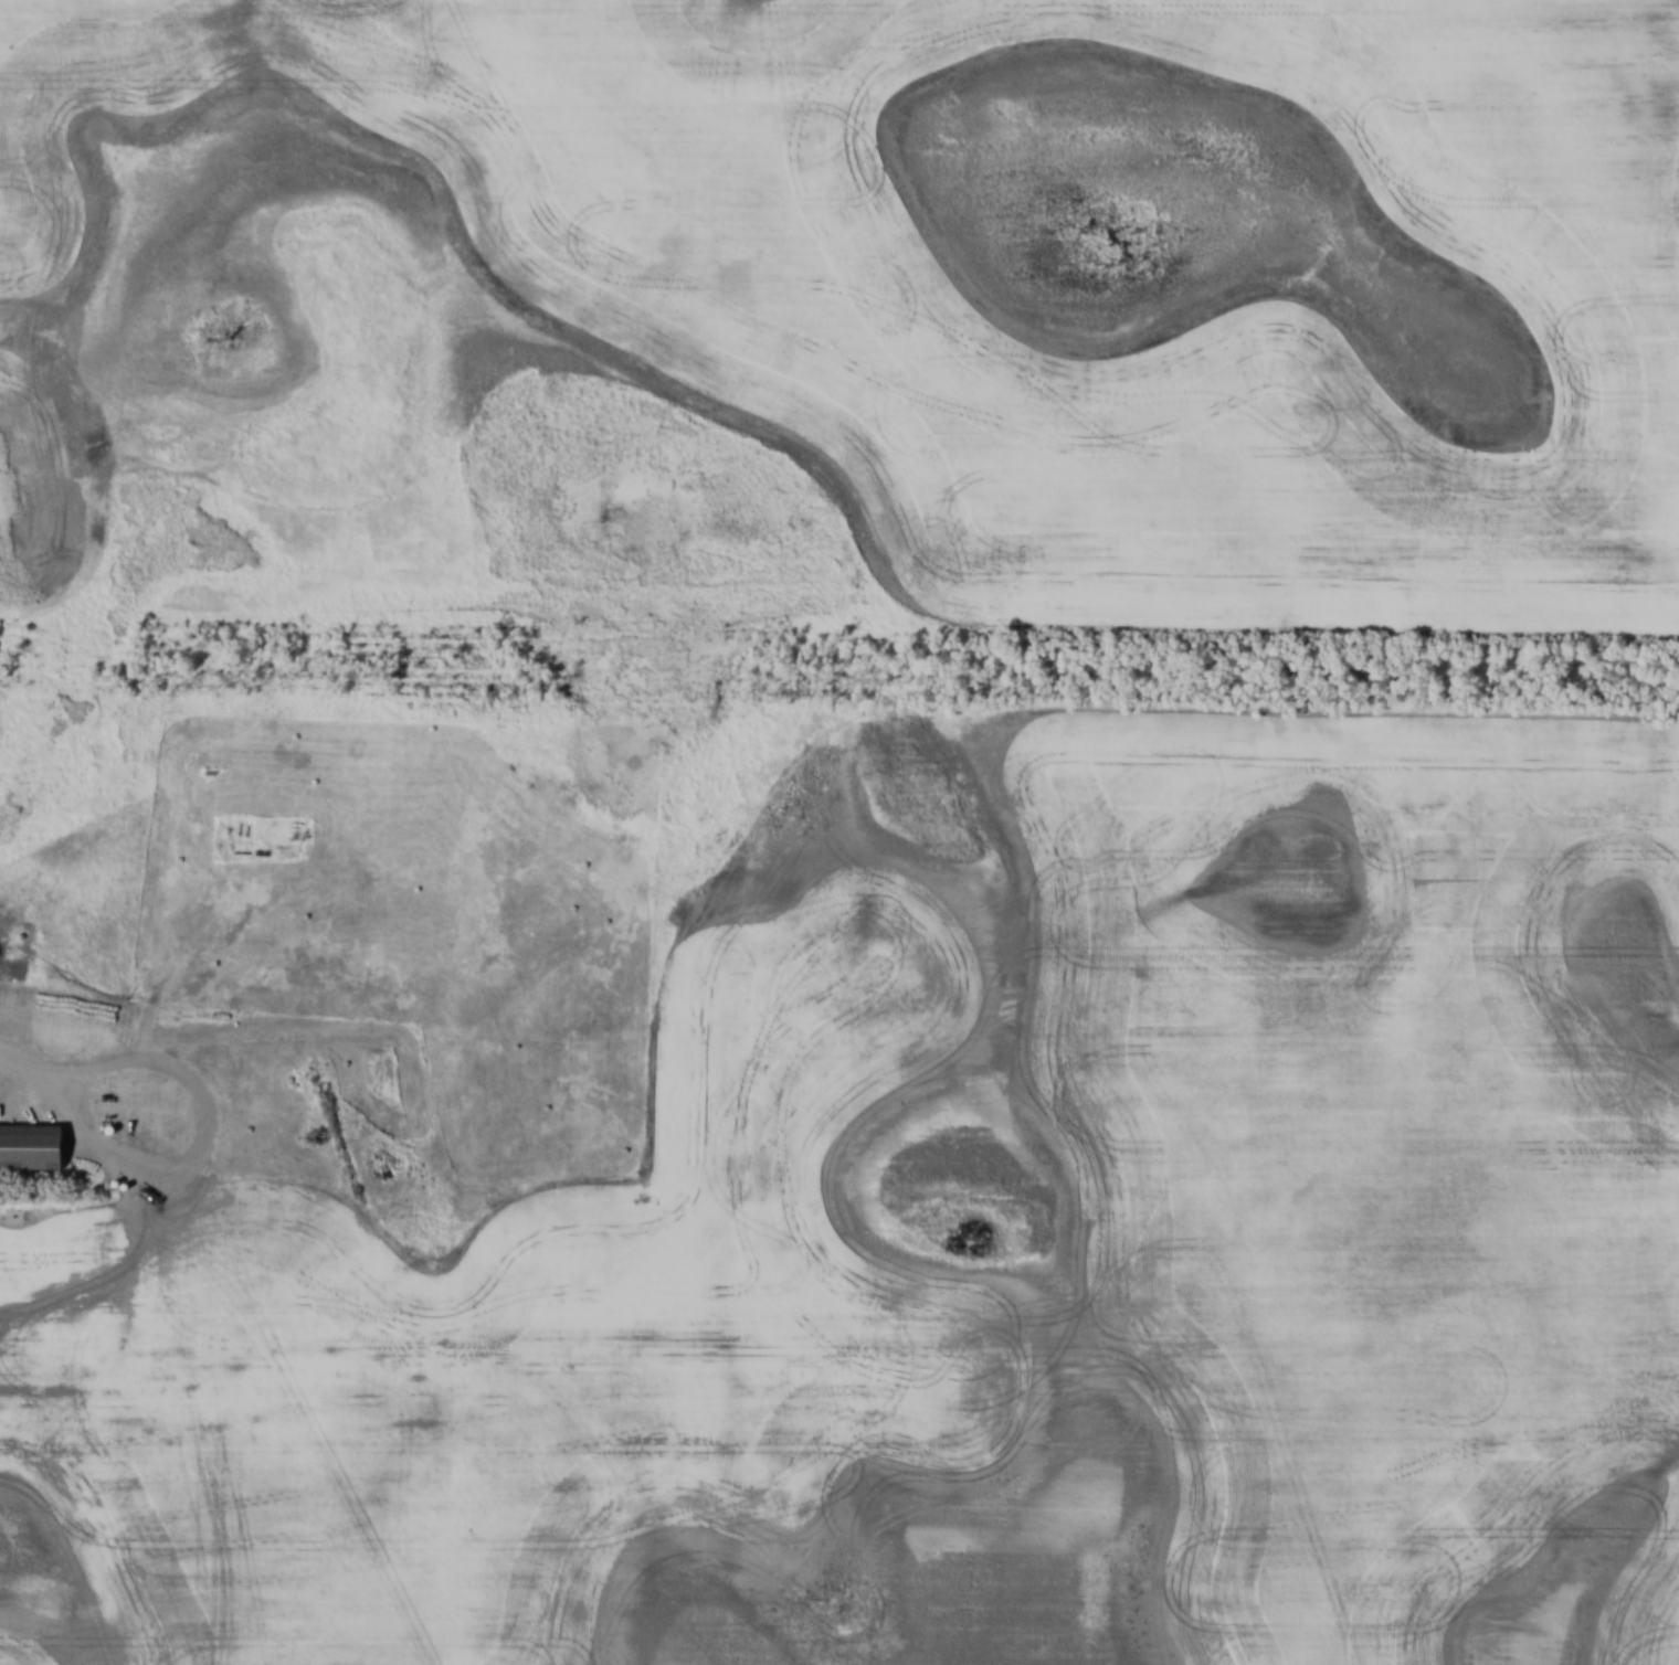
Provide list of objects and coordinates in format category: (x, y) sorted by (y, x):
building: (29, 1148)

